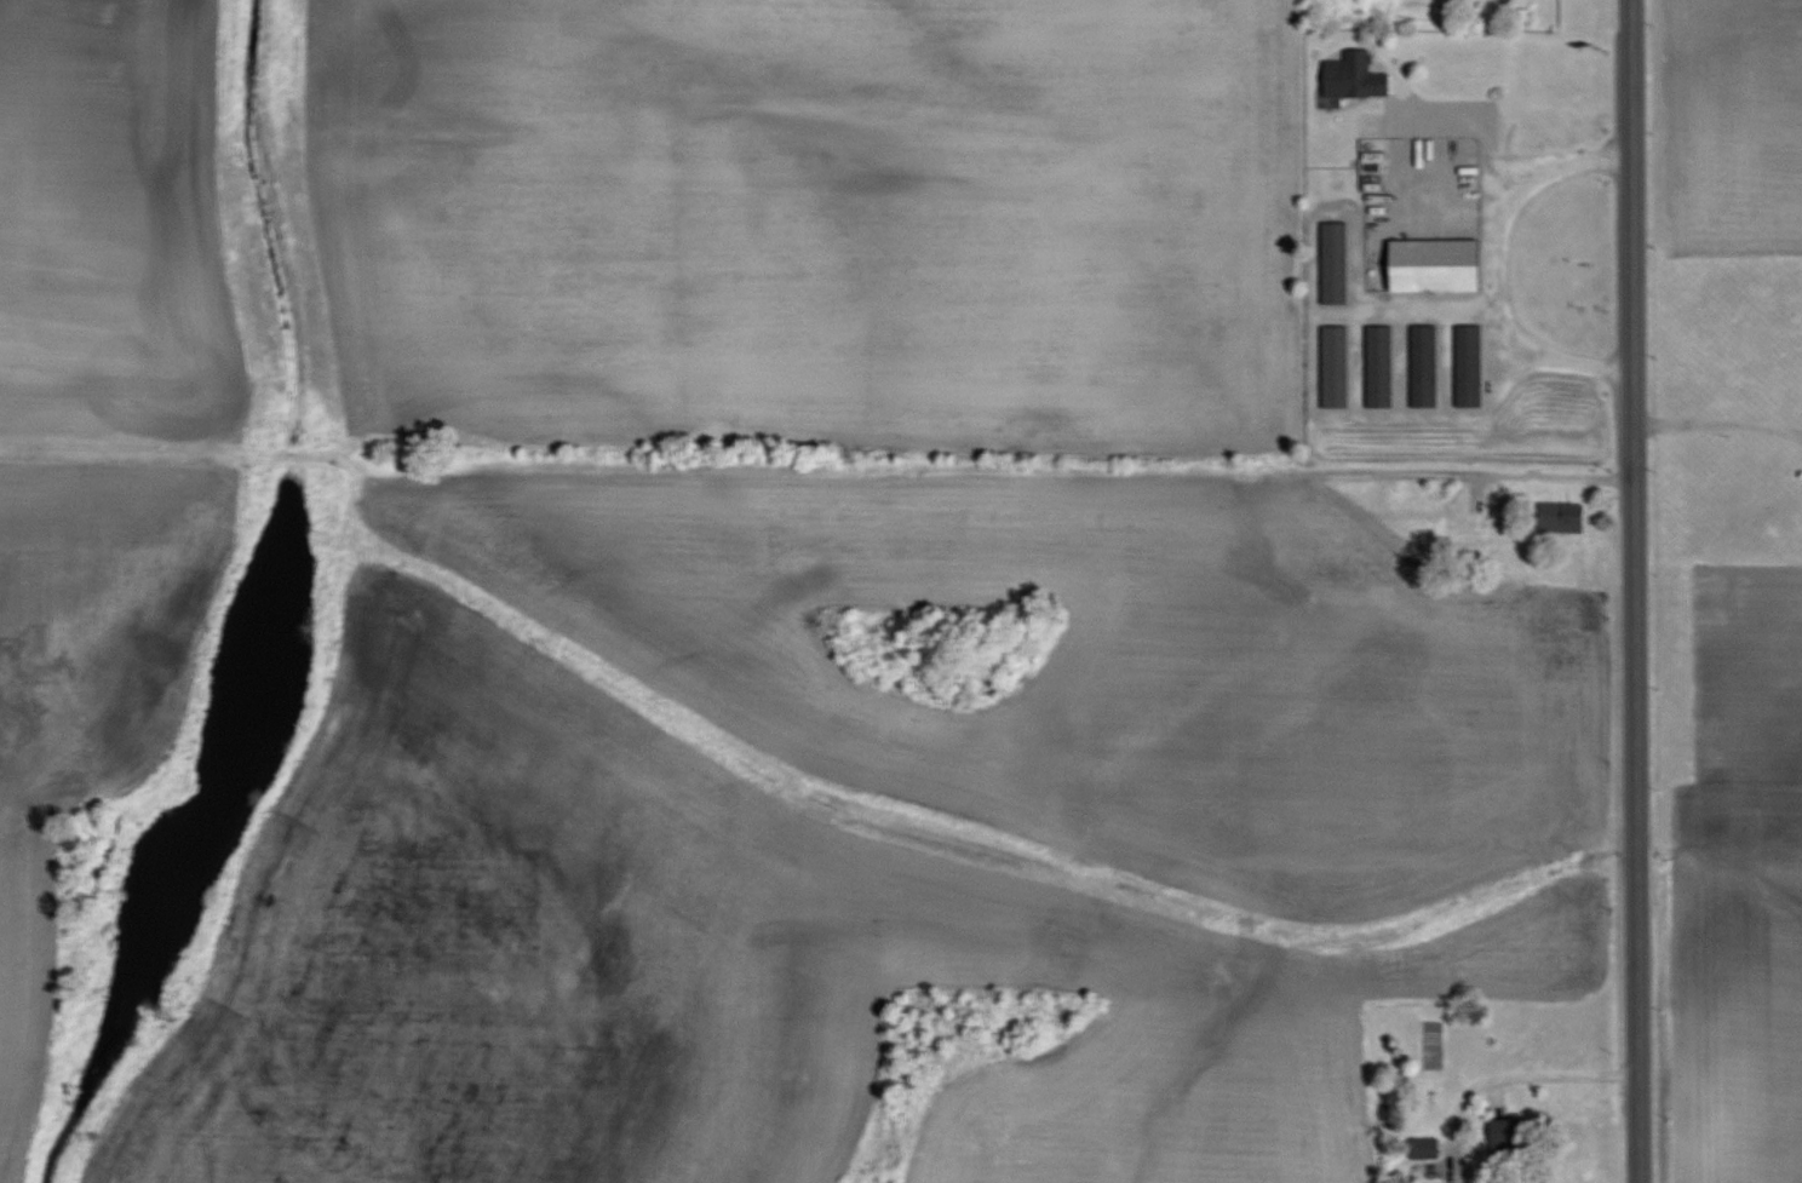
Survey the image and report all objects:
building: (1350, 75)
road: (1485, 110)
building: (1371, 150)
building: (1331, 262)
building: (1429, 264)
road: (1482, 266)
building: (1421, 364)
building: (1465, 364)
building: (1331, 366)
building: (1376, 366)
road: (1714, 425)
road: (1530, 481)
building: (1559, 517)
road: (1628, 591)
road: (1548, 1075)
building: (1509, 1132)
building: (1422, 1148)

